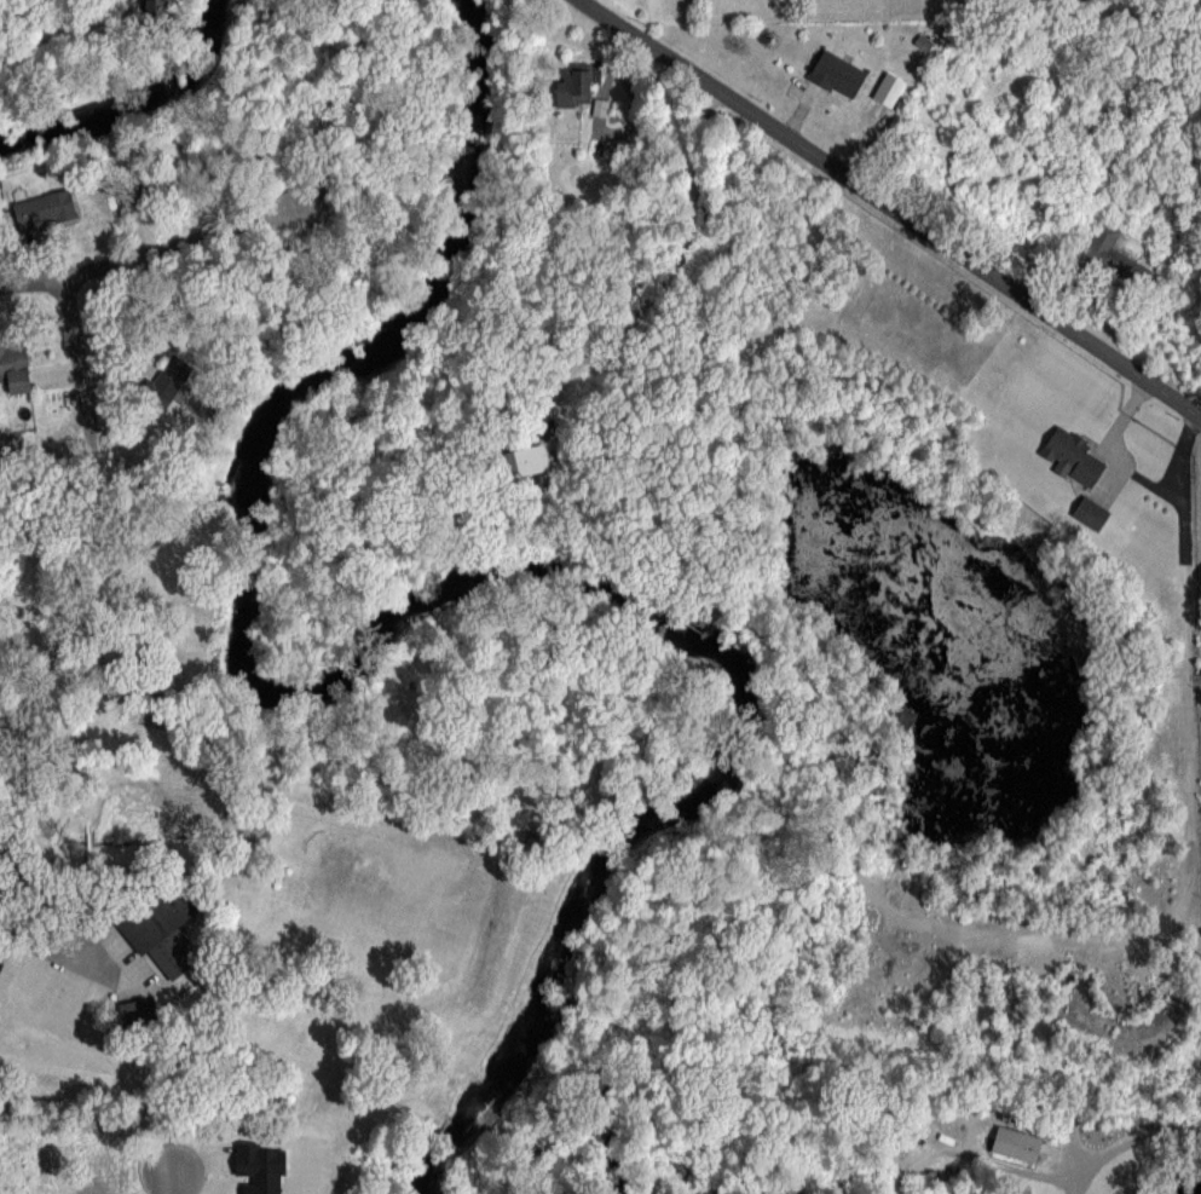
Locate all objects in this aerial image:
building: (836, 74)
building: (573, 85)
building: (888, 88)
river: (131, 99)
road: (889, 209)
building: (45, 210)
building: (1115, 250)
road: (148, 253)
road: (672, 271)
road: (77, 357)
building: (15, 368)
building: (168, 383)
building: (1072, 456)
building: (526, 461)
building: (1090, 512)
river: (414, 611)
building: (156, 918)
building: (0, 959)
road: (109, 1065)
building: (1016, 1143)
road: (1130, 1146)
road: (172, 1181)

